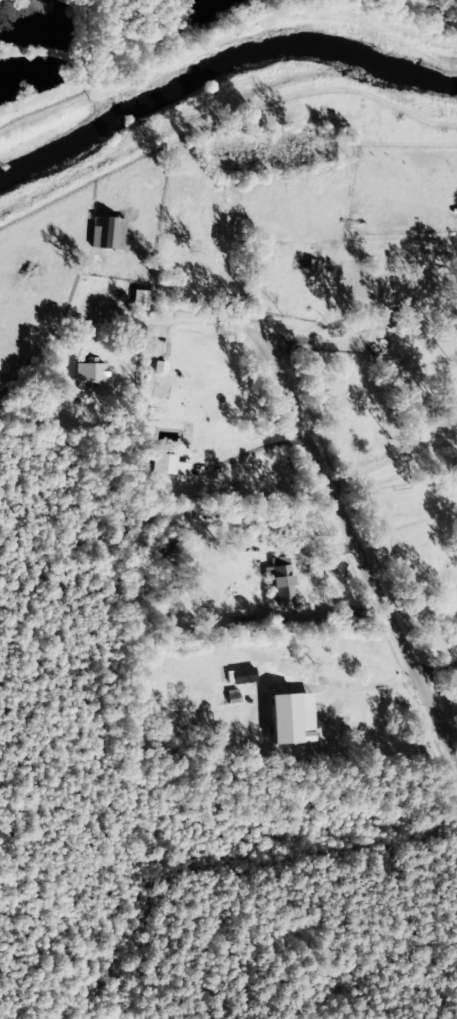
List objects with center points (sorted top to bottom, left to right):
building: (107, 234)
building: (139, 300)
road: (174, 317)
building: (393, 326)
building: (161, 349)
building: (89, 373)
road: (392, 457)
building: (162, 464)
road: (359, 548)
building: (280, 581)
road: (436, 667)
building: (242, 676)
building: (290, 719)

